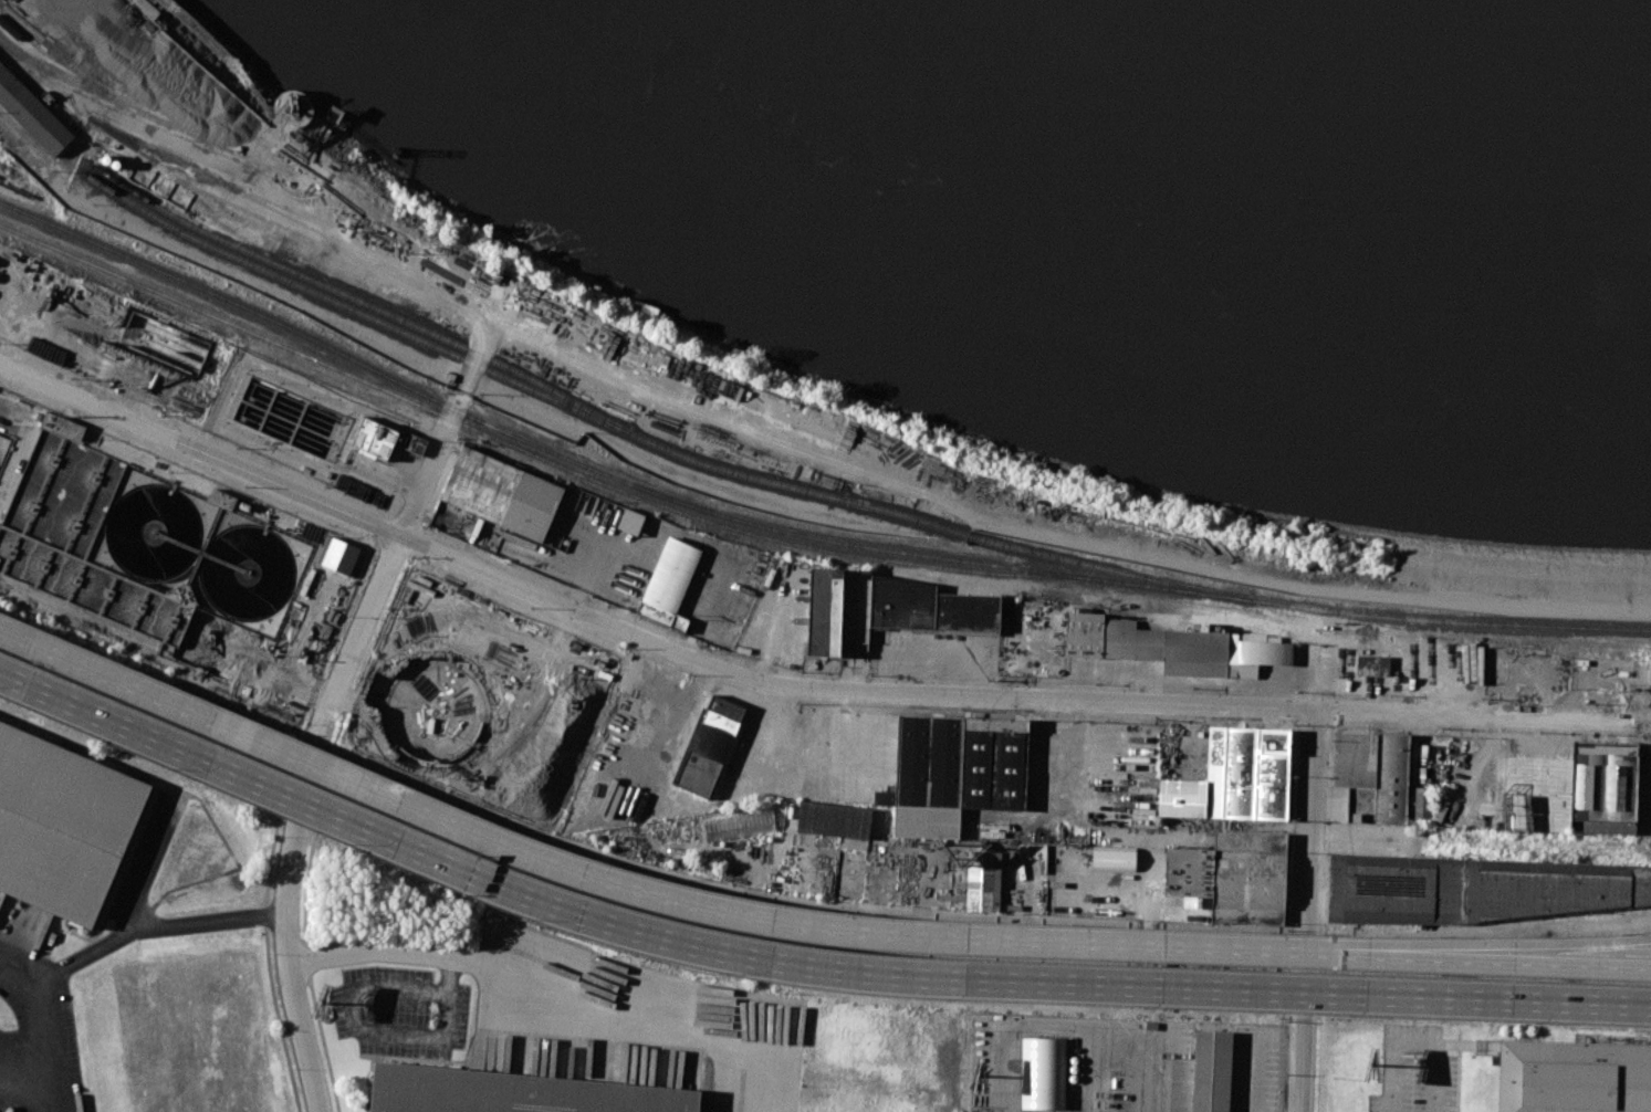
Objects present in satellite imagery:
building: (32, 112)
river: (1187, 187)
railway: (346, 306)
building: (200, 374)
railway: (576, 403)
wastewater plant: (301, 418)
building: (374, 439)
building: (415, 443)
railway: (535, 454)
building: (501, 493)
building: (630, 521)
railway: (794, 533)
road: (397, 545)
building: (341, 556)
wastewater plant: (167, 560)
railway: (1159, 580)
building: (669, 583)
building: (856, 606)
building: (929, 607)
building: (824, 611)
building: (1084, 634)
building: (1185, 649)
building: (1372, 664)
building: (480, 672)
road: (793, 685)
building: (710, 745)
building: (929, 760)
building: (994, 764)
building: (1231, 772)
building: (1272, 774)
building: (1602, 780)
building: (1383, 785)
building: (1537, 794)
building: (884, 797)
building: (1181, 797)
building: (1422, 802)
road: (689, 804)
building: (833, 819)
building: (927, 821)
building: (62, 825)
building: (739, 825)
building: (1034, 851)
building: (1114, 858)
road: (1307, 861)
building: (1232, 875)
building: (982, 880)
building: (1474, 889)
road: (671, 899)
road: (1508, 930)
road: (132, 932)
road: (1522, 947)
road: (627, 948)
road: (286, 950)
road: (798, 961)
road: (269, 962)
road: (1522, 963)
road: (798, 974)
road: (557, 988)
parking lot: (400, 1011)
parking lot: (35, 1015)
road: (1476, 1017)
parking lot: (630, 1024)
road: (1074, 1026)
road: (374, 1030)
road: (1414, 1041)
road: (40, 1049)
road: (1299, 1062)
road: (1319, 1062)
parking lot: (1122, 1063)
building: (1211, 1071)
parking lot: (1417, 1071)
building: (1043, 1072)
building: (1574, 1077)
building: (512, 1092)

